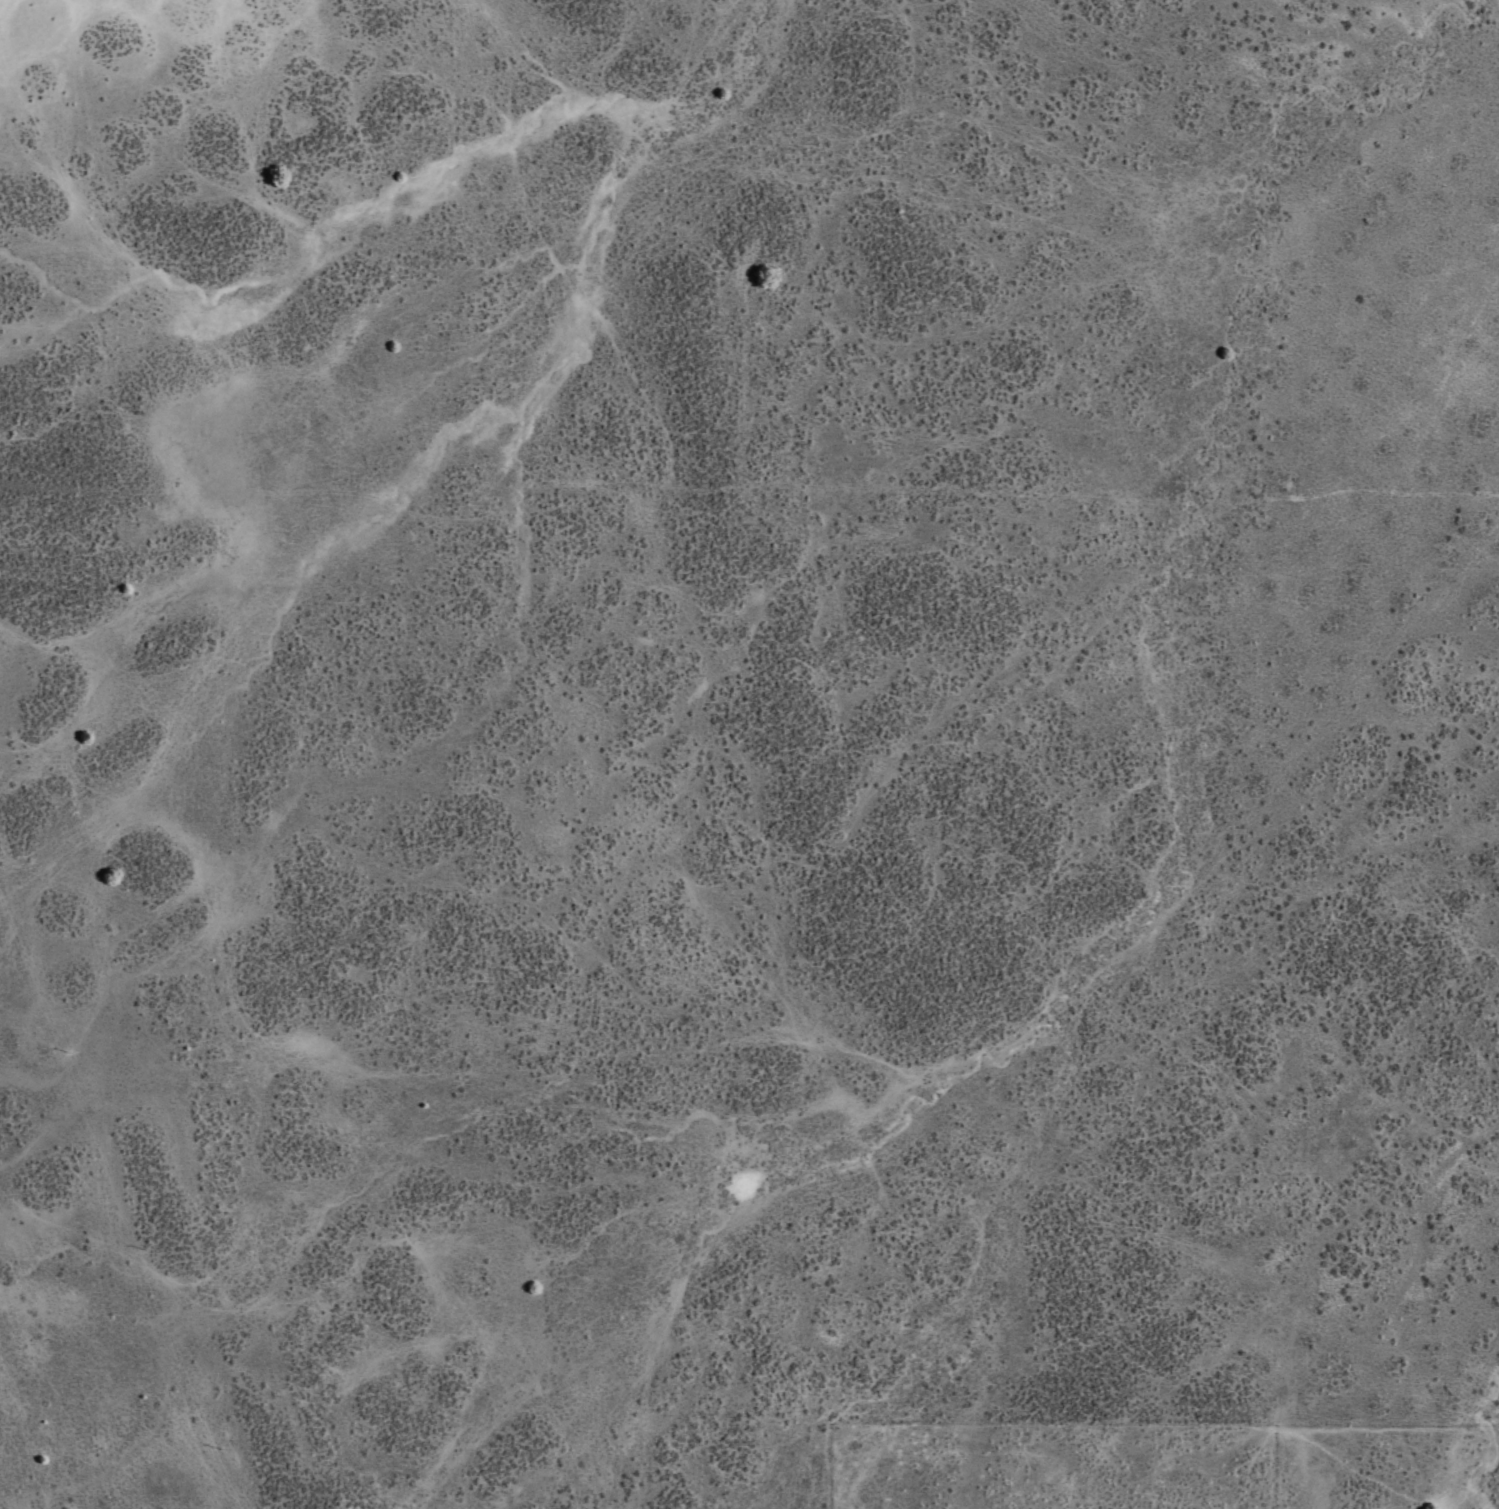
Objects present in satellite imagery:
crop: (859, 685)

